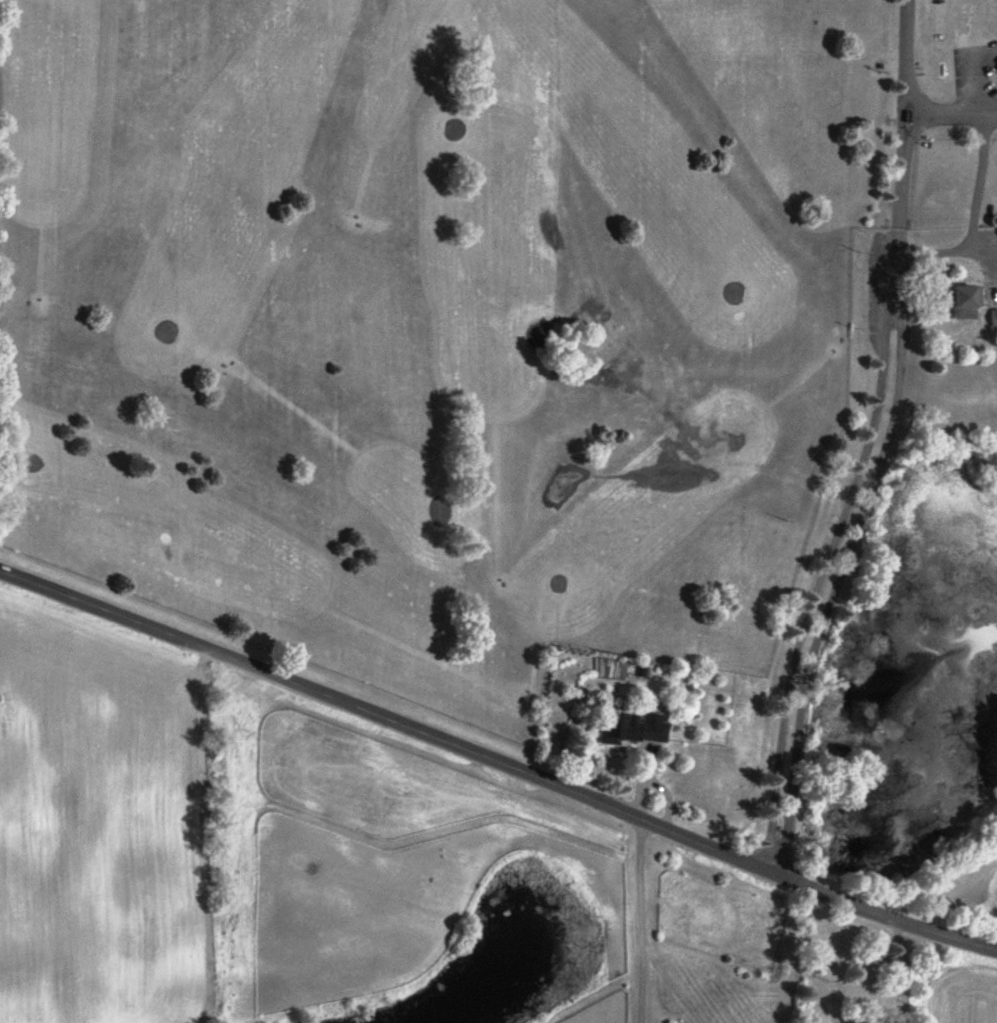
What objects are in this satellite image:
building: (996, 67)
building: (996, 70)
road: (950, 116)
road: (903, 119)
road: (978, 186)
road: (948, 250)
building: (959, 301)
building: (991, 318)
road: (838, 555)
building: (632, 728)
road: (496, 767)
road: (643, 923)
road: (901, 972)

